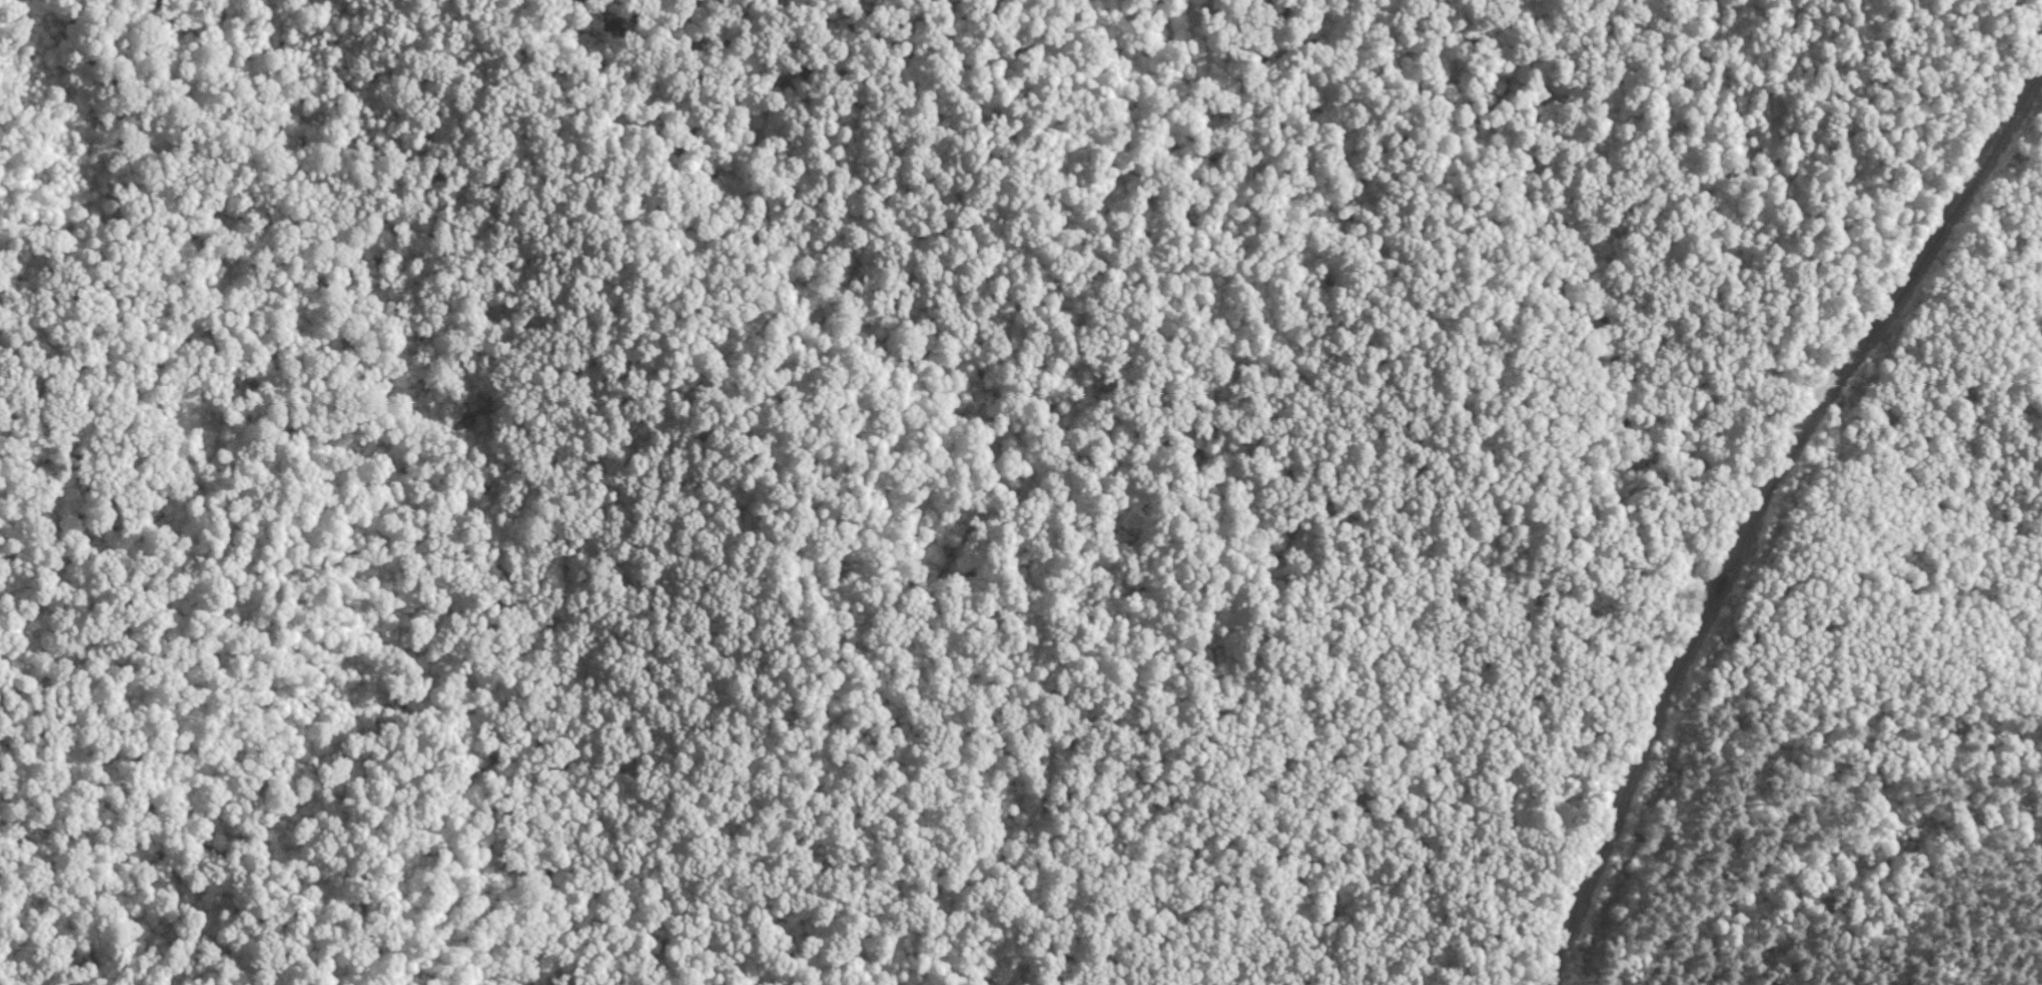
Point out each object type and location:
road: (1763, 501)

